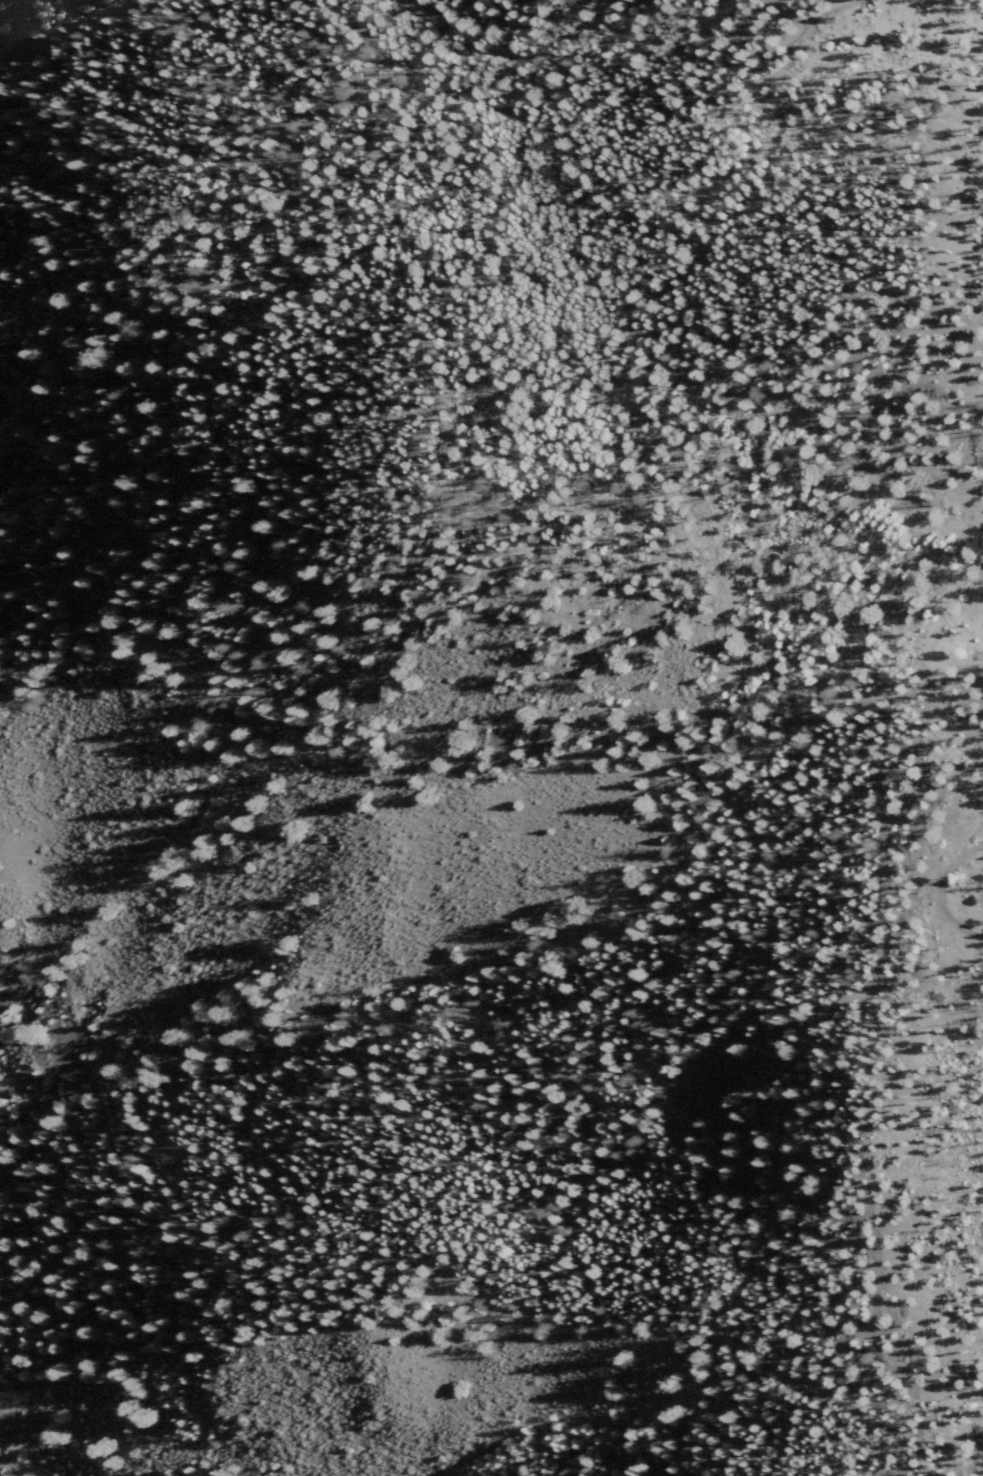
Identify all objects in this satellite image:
road: (857, 747)
road: (946, 887)

